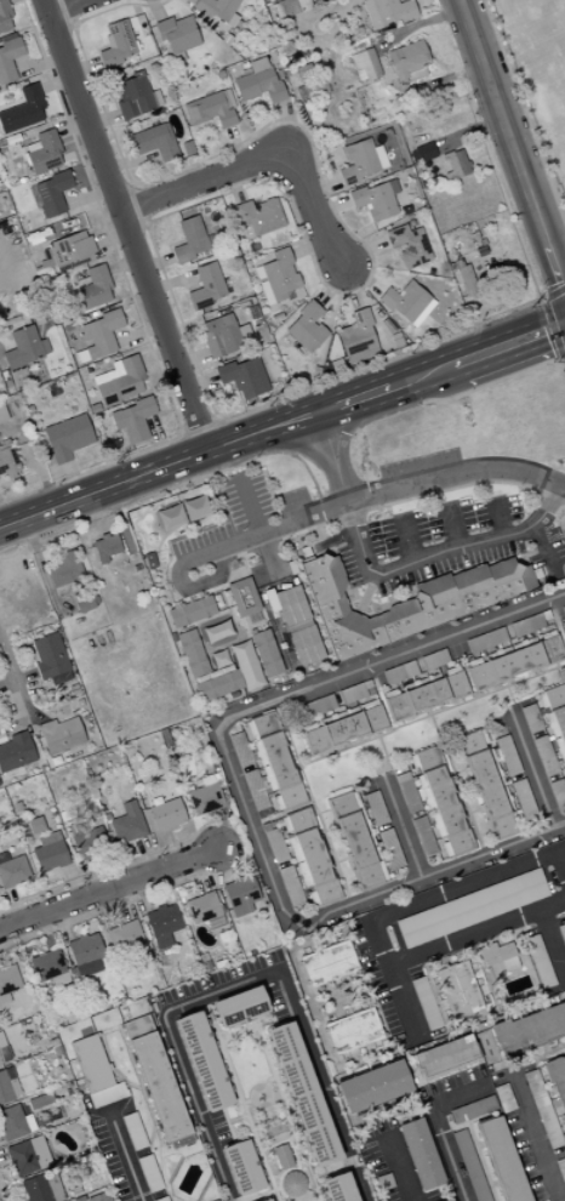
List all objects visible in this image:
road: (63, 6)
building: (289, 7)
building: (217, 10)
building: (387, 12)
building: (4, 18)
building: (175, 36)
building: (116, 44)
building: (7, 59)
building: (406, 62)
building: (363, 66)
park: (538, 69)
building: (257, 82)
building: (131, 97)
building: (210, 109)
building: (22, 110)
road: (523, 115)
building: (153, 142)
road: (510, 146)
building: (41, 152)
building: (421, 153)
building: (360, 161)
building: (453, 165)
road: (205, 182)
building: (51, 193)
building: (376, 200)
road: (309, 210)
building: (256, 217)
road: (126, 222)
building: (188, 240)
building: (409, 246)
building: (68, 251)
building: (275, 277)
building: (205, 286)
building: (93, 289)
building: (406, 303)
building: (304, 329)
building: (97, 336)
building: (218, 336)
building: (358, 337)
road: (508, 343)
building: (23, 348)
road: (420, 375)
building: (242, 377)
building: (118, 381)
road: (372, 392)
road: (335, 404)
building: (1, 415)
building: (131, 420)
building: (65, 438)
road: (339, 448)
road: (296, 449)
road: (287, 454)
road: (325, 459)
building: (6, 460)
road: (155, 467)
road: (413, 496)
road: (249, 506)
road: (335, 506)
building: (193, 510)
building: (169, 518)
road: (497, 518)
road: (75, 523)
road: (451, 525)
building: (564, 536)
road: (406, 539)
parking lot: (445, 540)
building: (105, 547)
road: (544, 548)
road: (436, 552)
road: (38, 560)
road: (156, 563)
road: (218, 564)
road: (244, 569)
building: (64, 571)
road: (233, 573)
road: (207, 590)
road: (366, 592)
building: (244, 597)
road: (264, 597)
building: (84, 600)
building: (406, 602)
building: (290, 607)
building: (563, 609)
building: (192, 611)
road: (262, 614)
road: (200, 620)
building: (166, 621)
building: (526, 625)
building: (217, 631)
building: (563, 633)
building: (486, 641)
road: (250, 645)
road: (201, 647)
building: (304, 648)
building: (192, 653)
building: (267, 653)
building: (51, 659)
building: (219, 659)
building: (434, 660)
building: (514, 660)
building: (246, 665)
road: (557, 665)
road: (564, 667)
building: (399, 672)
building: (213, 673)
road: (532, 673)
road: (13, 678)
road: (25, 678)
road: (507, 683)
road: (7, 684)
building: (218, 685)
road: (484, 691)
building: (352, 693)
building: (232, 694)
building: (426, 694)
road: (470, 696)
road: (509, 696)
road: (461, 700)
building: (318, 706)
road: (439, 708)
road: (424, 713)
road: (430, 713)
building: (555, 715)
road: (35, 717)
building: (531, 718)
road: (401, 722)
road: (18, 723)
building: (343, 727)
road: (5, 733)
road: (378, 733)
building: (59, 734)
road: (356, 741)
road: (342, 747)
building: (240, 749)
road: (450, 750)
building: (16, 751)
road: (382, 751)
building: (155, 755)
building: (507, 755)
road: (319, 756)
building: (546, 756)
building: (275, 761)
building: (213, 765)
road: (529, 765)
road: (457, 772)
road: (455, 784)
road: (463, 785)
building: (487, 785)
road: (235, 786)
building: (255, 790)
building: (407, 792)
building: (558, 792)
building: (206, 795)
building: (524, 799)
building: (441, 801)
road: (310, 802)
building: (16, 806)
building: (375, 808)
building: (165, 810)
road: (473, 810)
road: (321, 812)
building: (63, 815)
building: (127, 824)
road: (399, 825)
road: (222, 827)
road: (330, 835)
road: (481, 835)
building: (423, 836)
road: (152, 839)
building: (356, 839)
building: (87, 841)
building: (275, 846)
building: (390, 849)
building: (48, 852)
building: (309, 856)
road: (339, 860)
road: (560, 864)
road: (218, 865)
road: (202, 870)
building: (12, 871)
road: (90, 873)
road: (89, 877)
road: (72, 882)
road: (348, 884)
building: (291, 886)
road: (108, 887)
road: (141, 895)
building: (241, 897)
road: (121, 901)
road: (11, 905)
road: (405, 906)
building: (201, 907)
building: (470, 907)
road: (108, 909)
road: (63, 923)
building: (162, 924)
road: (476, 930)
road: (44, 932)
building: (561, 932)
building: (124, 937)
road: (552, 941)
road: (217, 951)
building: (497, 951)
building: (85, 955)
building: (540, 961)
road: (167, 962)
building: (327, 963)
building: (48, 967)
road: (356, 972)
building: (7, 981)
road: (240, 981)
road: (370, 989)
road: (359, 990)
building: (460, 990)
road: (350, 995)
road: (490, 996)
road: (330, 1001)
building: (426, 1002)
road: (369, 1004)
building: (241, 1006)
building: (79, 1013)
building: (530, 1029)
road: (108, 1030)
building: (352, 1030)
building: (50, 1035)
building: (0, 1041)
building: (53, 1042)
building: (57, 1051)
building: (4, 1054)
building: (446, 1057)
road: (131, 1058)
building: (205, 1060)
road: (30, 1061)
road: (112, 1068)
building: (95, 1071)
building: (558, 1076)
building: (156, 1081)
building: (375, 1086)
road: (274, 1087)
building: (8, 1088)
road: (280, 1088)
building: (67, 1092)
road: (143, 1092)
building: (304, 1093)
building: (503, 1097)
road: (241, 1099)
building: (39, 1100)
building: (473, 1109)
building: (542, 1109)
road: (148, 1112)
road: (241, 1117)
building: (564, 1117)
building: (15, 1122)
road: (435, 1123)
road: (461, 1125)
road: (156, 1126)
building: (133, 1131)
building: (273, 1131)
road: (0, 1137)
road: (535, 1138)
road: (276, 1144)
road: (147, 1148)
road: (124, 1154)
building: (422, 1154)
building: (27, 1155)
building: (282, 1156)
building: (502, 1159)
road: (2, 1160)
road: (480, 1162)
building: (469, 1165)
road: (396, 1166)
building: (244, 1167)
building: (560, 1169)
building: (149, 1173)
building: (292, 1183)
building: (41, 1188)
building: (341, 1188)
road: (2, 1193)
building: (80, 1197)
building: (98, 1197)
building: (268, 1200)
building: (450, 1200)

